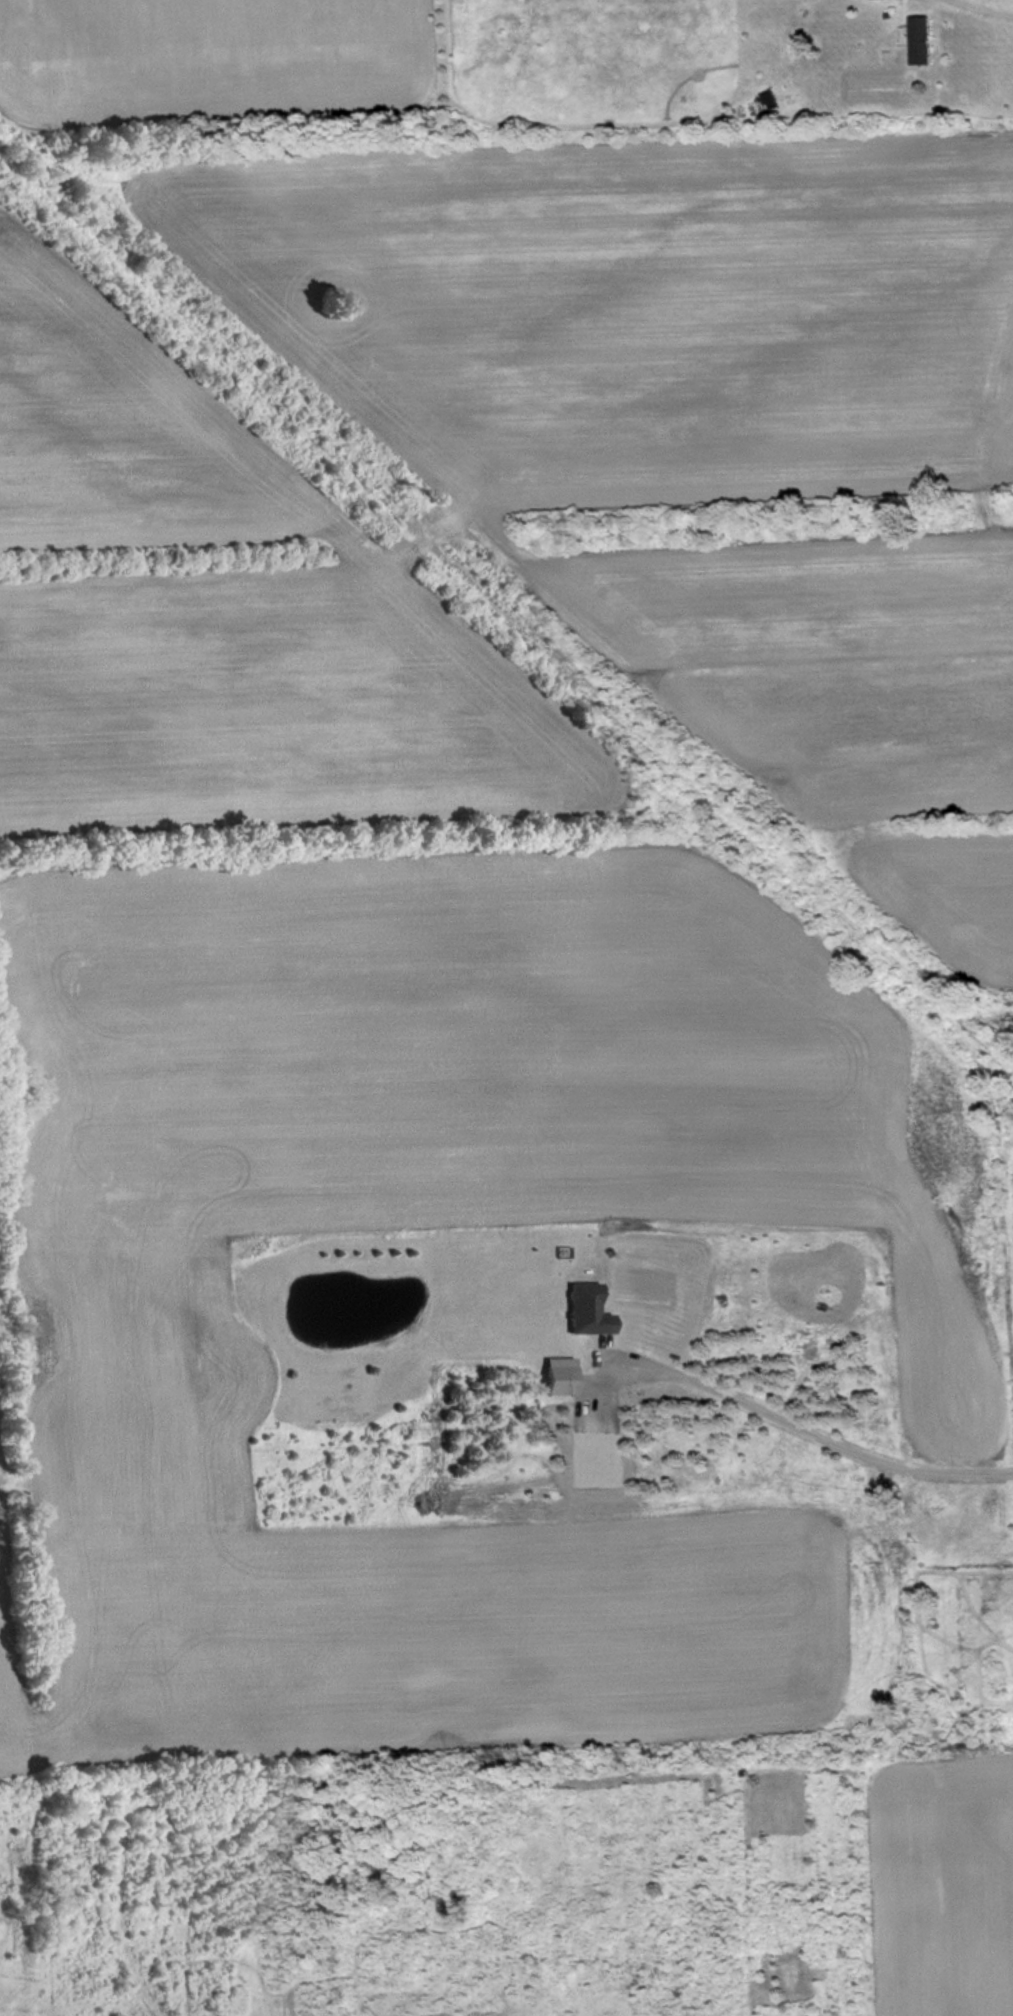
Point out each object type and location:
building: (926, 41)
railway: (506, 609)
building: (592, 1310)

